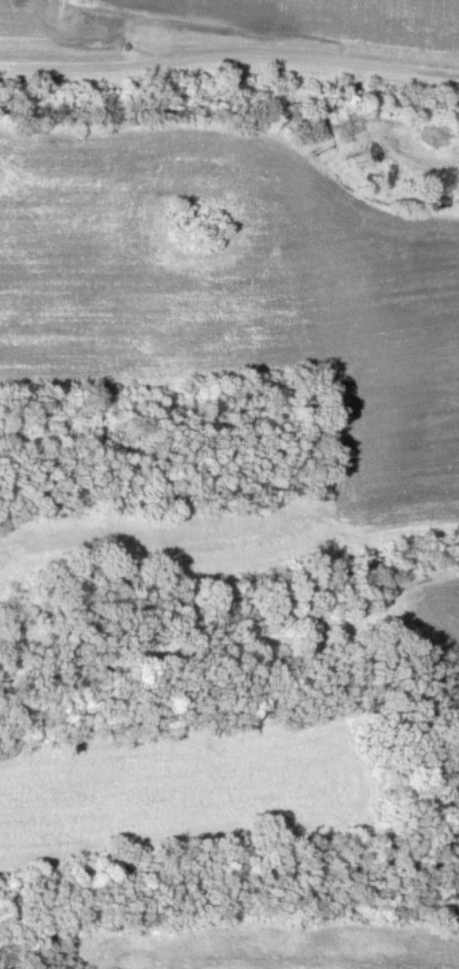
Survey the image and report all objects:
road: (229, 53)

